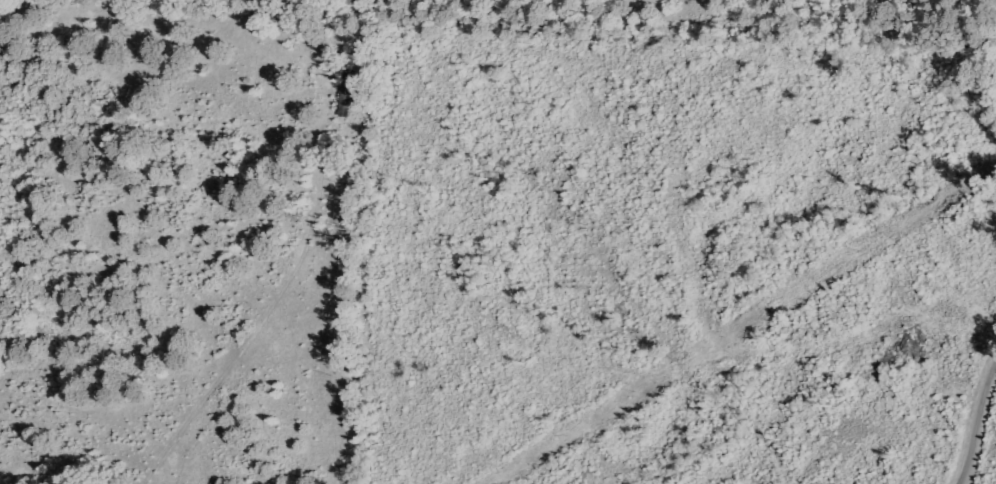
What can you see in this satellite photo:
road: (971, 421)

